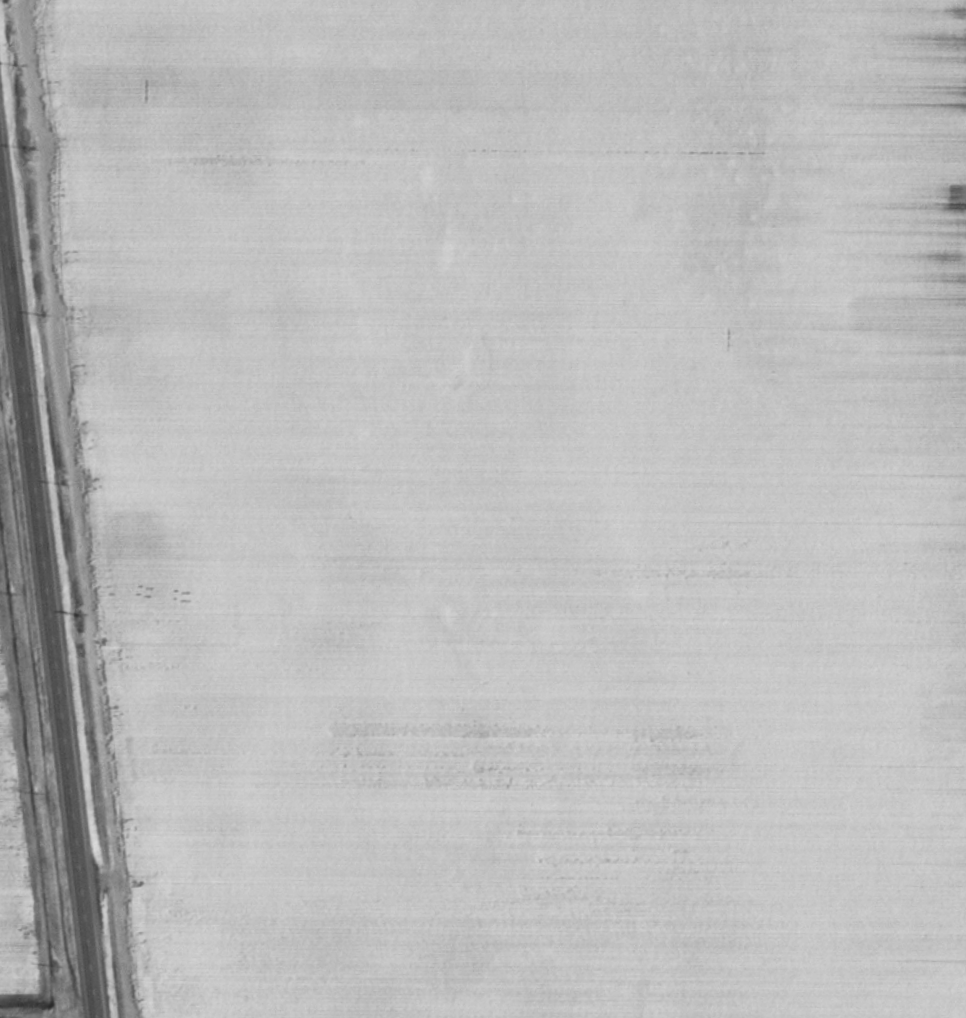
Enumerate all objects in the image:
road: (49, 601)

